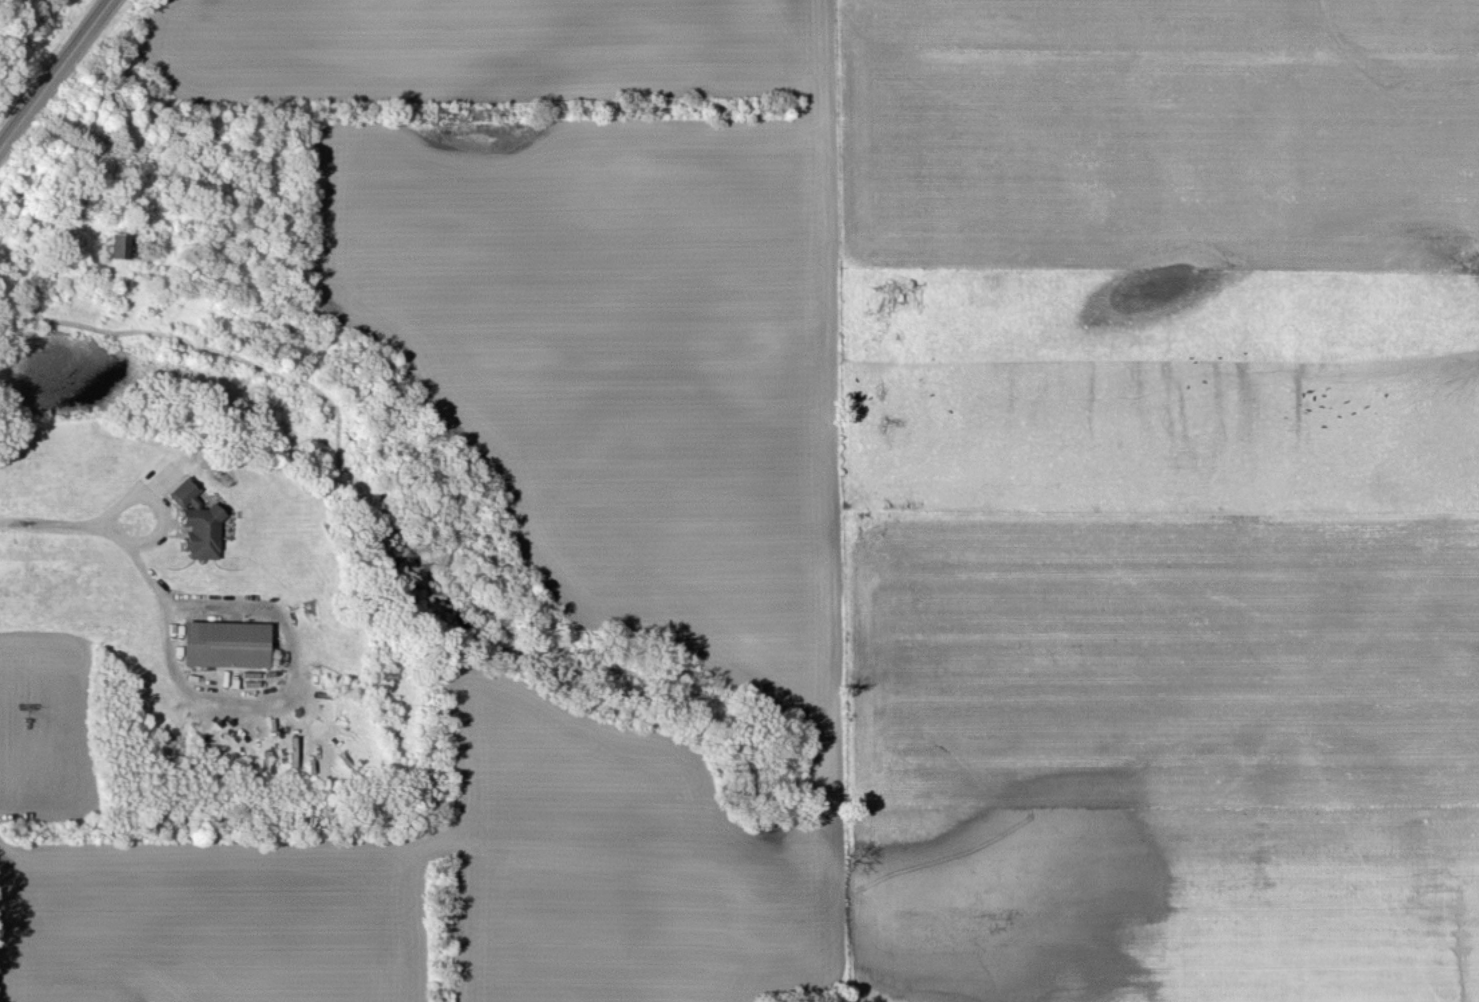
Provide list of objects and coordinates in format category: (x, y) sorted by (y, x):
road: (55, 76)
building: (118, 244)
road: (150, 498)
building: (195, 520)
road: (99, 527)
building: (223, 643)
road: (278, 689)

